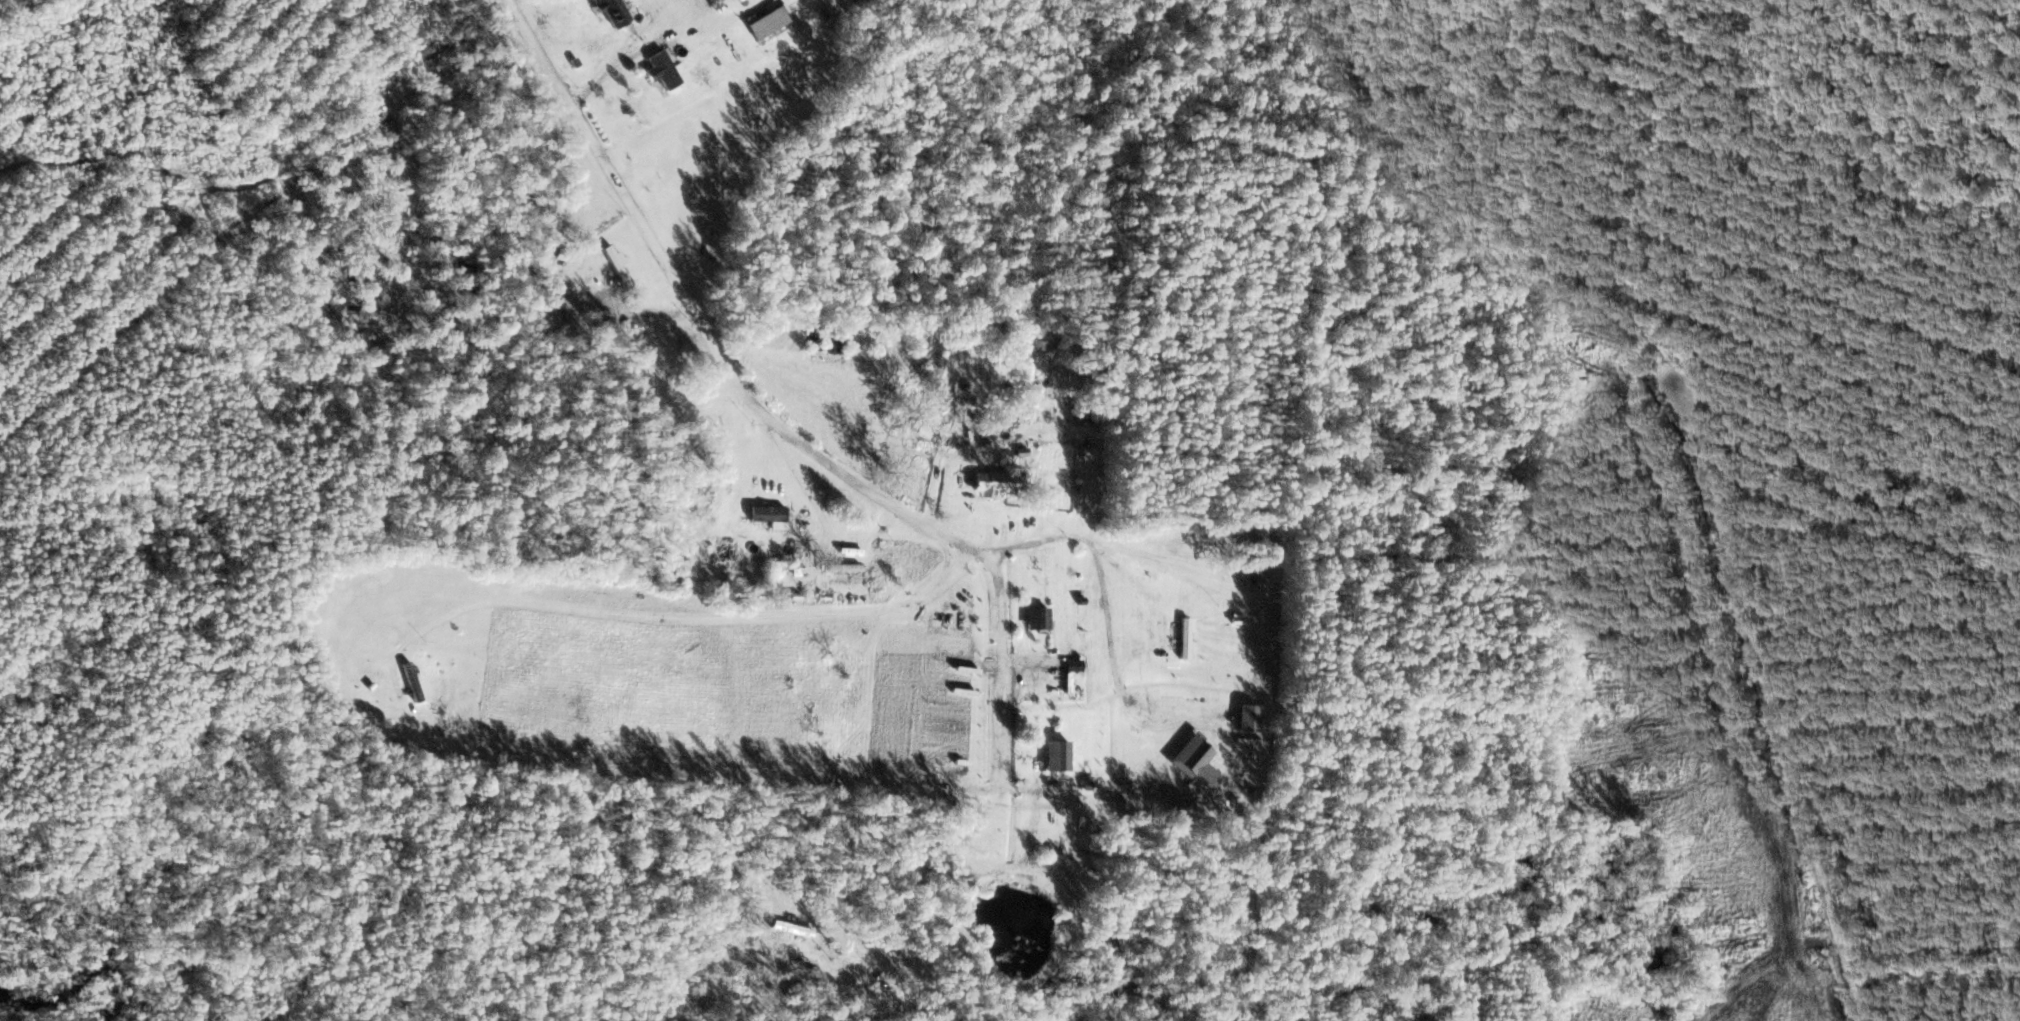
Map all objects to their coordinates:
building: (614, 11)
building: (768, 22)
building: (662, 70)
building: (618, 266)
building: (986, 484)
road: (820, 512)
building: (844, 568)
building: (1041, 618)
building: (1058, 627)
building: (1186, 638)
building: (413, 682)

